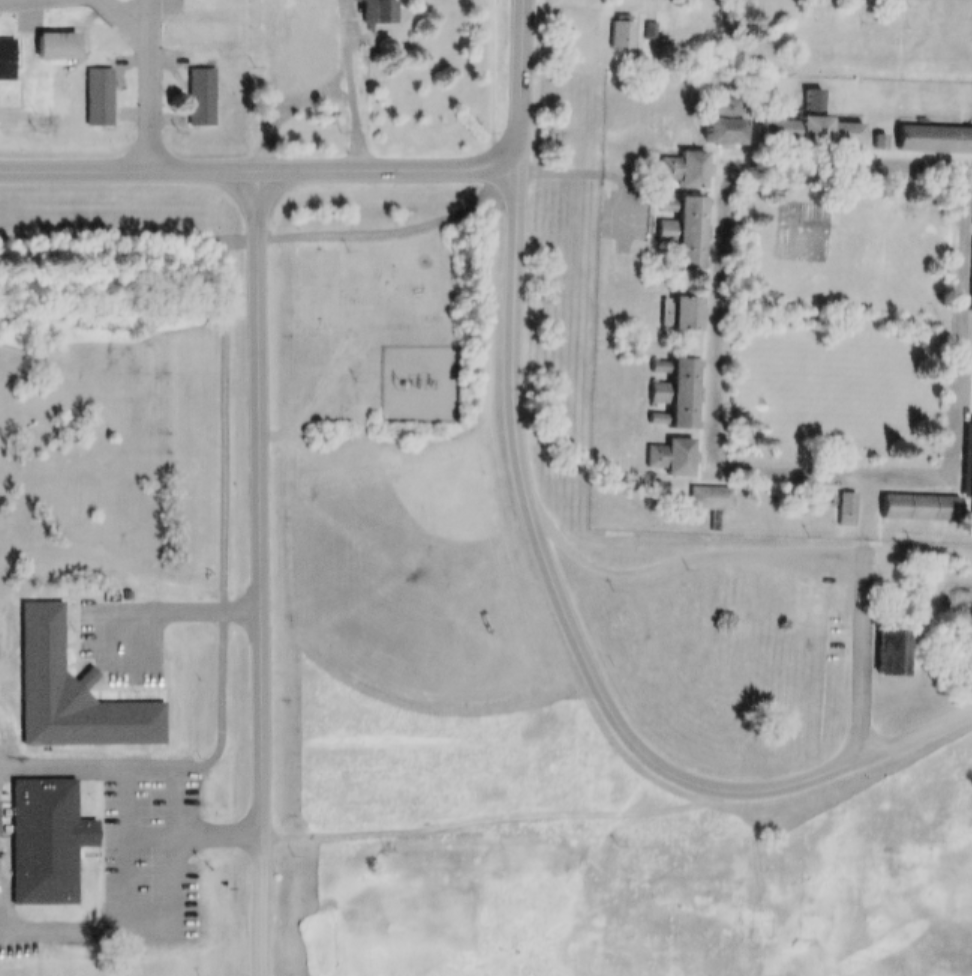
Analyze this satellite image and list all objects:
building: (373, 6)
road: (127, 22)
road: (148, 22)
building: (616, 24)
building: (624, 35)
building: (49, 36)
building: (2, 45)
building: (57, 46)
road: (350, 83)
road: (521, 83)
building: (93, 86)
building: (195, 87)
road: (151, 104)
road: (721, 153)
road: (259, 165)
road: (262, 236)
building: (319, 262)
park: (322, 285)
building: (783, 295)
power substation: (420, 381)
road: (320, 387)
road: (258, 499)
road: (685, 557)
road: (127, 558)
park: (416, 582)
road: (556, 582)
road: (863, 614)
building: (882, 646)
building: (65, 685)
road: (917, 729)
road: (499, 820)
building: (39, 831)
road: (143, 904)
road: (259, 905)

